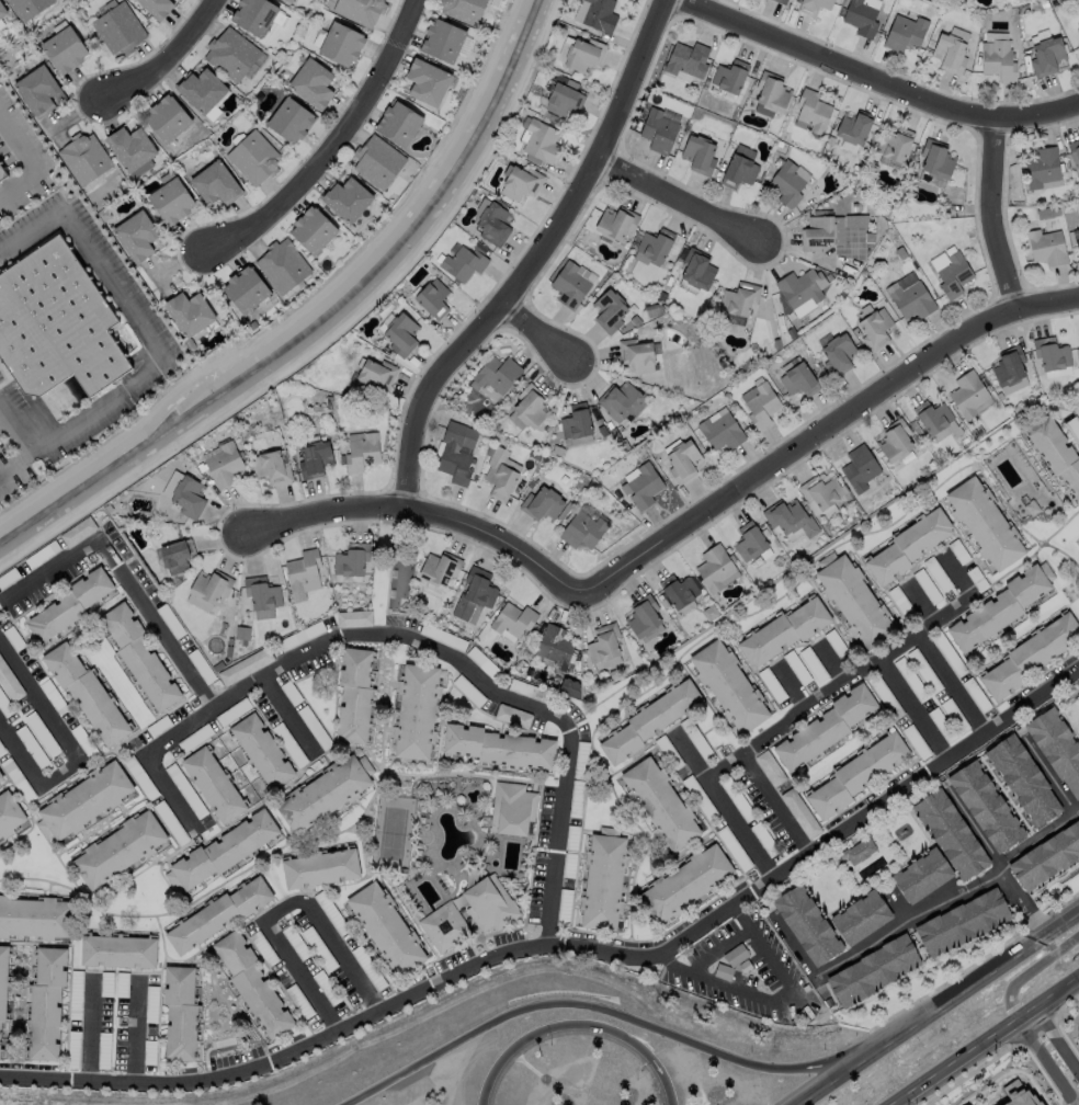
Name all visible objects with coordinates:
building: (291, 0)
building: (782, 1)
building: (816, 7)
building: (29, 8)
building: (158, 8)
building: (464, 9)
building: (2, 10)
building: (359, 10)
building: (255, 15)
building: (601, 15)
building: (862, 19)
building: (118, 29)
building: (1078, 31)
building: (907, 34)
building: (442, 41)
building: (342, 44)
building: (66, 50)
building: (952, 55)
building: (234, 56)
building: (586, 56)
building: (1048, 57)
road: (163, 59)
building: (689, 60)
building: (999, 60)
road: (878, 73)
building: (731, 77)
building: (428, 82)
building: (314, 83)
building: (203, 89)
building: (38, 91)
building: (773, 93)
building: (565, 100)
building: (814, 113)
building: (167, 117)
building: (292, 121)
building: (399, 123)
building: (855, 128)
building: (660, 132)
building: (542, 143)
building: (897, 145)
building: (132, 147)
road: (331, 149)
building: (1075, 150)
building: (254, 156)
building: (701, 156)
building: (87, 158)
building: (938, 160)
building: (378, 162)
road: (33, 166)
building: (1043, 169)
building: (740, 172)
building: (3, 173)
building: (522, 183)
building: (215, 184)
building: (788, 185)
building: (349, 197)
building: (172, 202)
road: (684, 207)
road: (991, 213)
building: (493, 224)
building: (617, 224)
building: (314, 231)
building: (819, 233)
building: (1076, 236)
building: (137, 237)
building: (657, 247)
building: (1047, 247)
road: (538, 259)
building: (463, 263)
building: (284, 265)
building: (698, 271)
building: (954, 274)
building: (572, 280)
building: (803, 288)
building: (247, 289)
building: (433, 298)
building: (741, 300)
building: (912, 300)
building: (611, 307)
building: (191, 312)
building: (678, 321)
building: (60, 327)
building: (875, 329)
building: (400, 333)
road: (537, 335)
road: (145, 338)
building: (1078, 341)
building: (1052, 353)
building: (636, 354)
building: (838, 354)
building: (1002, 358)
building: (497, 374)
building: (374, 375)
building: (798, 379)
building: (968, 394)
building: (620, 400)
building: (761, 403)
building: (530, 405)
building: (933, 415)
building: (576, 423)
road: (1, 424)
road: (817, 424)
building: (720, 431)
building: (895, 441)
building: (456, 452)
building: (362, 453)
building: (1057, 453)
road: (27, 457)
building: (314, 458)
building: (682, 460)
building: (224, 464)
building: (271, 467)
building: (859, 467)
building: (500, 475)
building: (645, 486)
building: (820, 491)
building: (189, 495)
building: (542, 504)
road: (421, 514)
building: (981, 515)
building: (790, 517)
building: (576, 528)
building: (78, 531)
building: (747, 538)
building: (904, 538)
building: (951, 543)
building: (177, 555)
building: (352, 559)
building: (707, 559)
building: (930, 567)
building: (440, 568)
building: (968, 569)
building: (303, 573)
building: (919, 578)
building: (209, 585)
building: (675, 589)
building: (849, 592)
building: (262, 593)
building: (893, 594)
building: (474, 595)
building: (996, 602)
road: (920, 604)
building: (666, 605)
building: (71, 606)
building: (507, 612)
building: (640, 612)
building: (712, 613)
building: (353, 618)
building: (777, 624)
building: (302, 635)
building: (597, 635)
building: (831, 637)
building: (549, 638)
road: (344, 641)
building: (944, 650)
building: (1025, 650)
building: (806, 654)
building: (140, 659)
building: (788, 660)
road: (829, 661)
building: (918, 662)
building: (245, 665)
road: (854, 668)
building: (904, 672)
building: (615, 675)
building: (764, 677)
building: (566, 679)
building: (10, 680)
building: (524, 683)
building: (728, 683)
road: (790, 684)
road: (949, 684)
building: (1078, 684)
building: (570, 687)
building: (968, 687)
building: (468, 691)
building: (882, 692)
building: (354, 693)
building: (87, 696)
building: (503, 707)
building: (949, 707)
road: (910, 709)
building: (416, 711)
road: (289, 715)
building: (643, 715)
building: (934, 715)
building: (513, 716)
building: (821, 718)
building: (690, 731)
building: (910, 732)
building: (497, 739)
building: (1055, 739)
building: (662, 744)
building: (261, 750)
building: (573, 750)
road: (76, 753)
road: (154, 761)
building: (764, 761)
building: (851, 770)
building: (1020, 771)
road: (1049, 771)
building: (1, 775)
building: (1, 777)
building: (213, 783)
building: (568, 789)
building: (692, 789)
building: (323, 793)
building: (730, 793)
building: (655, 794)
building: (983, 795)
building: (88, 798)
road: (770, 801)
road: (724, 805)
building: (794, 805)
building: (512, 807)
building: (10, 812)
building: (164, 814)
road: (974, 824)
building: (949, 827)
building: (565, 828)
building: (757, 830)
park: (391, 832)
building: (726, 840)
building: (859, 847)
building: (123, 848)
building: (1046, 848)
building: (222, 850)
road: (997, 851)
building: (561, 856)
building: (320, 866)
building: (919, 867)
building: (599, 873)
building: (684, 873)
building: (557, 898)
building: (322, 900)
building: (488, 904)
building: (856, 910)
road: (284, 913)
building: (957, 913)
building: (219, 914)
building: (803, 916)
building: (36, 918)
building: (445, 926)
building: (384, 927)
road: (871, 936)
building: (295, 942)
road: (569, 946)
road: (716, 946)
building: (319, 948)
building: (732, 949)
building: (120, 950)
building: (739, 958)
building: (870, 962)
building: (716, 964)
building: (723, 971)
road: (1030, 975)
building: (322, 981)
building: (255, 983)
building: (2, 990)
road: (772, 1002)
building: (47, 1003)
road: (936, 1007)
building: (181, 1012)
road: (616, 1014)
road: (577, 1025)
road: (92, 1030)
road: (137, 1032)
road: (1057, 1041)
road: (988, 1043)
road: (1045, 1064)
building: (1015, 1095)
building: (962, 1103)

